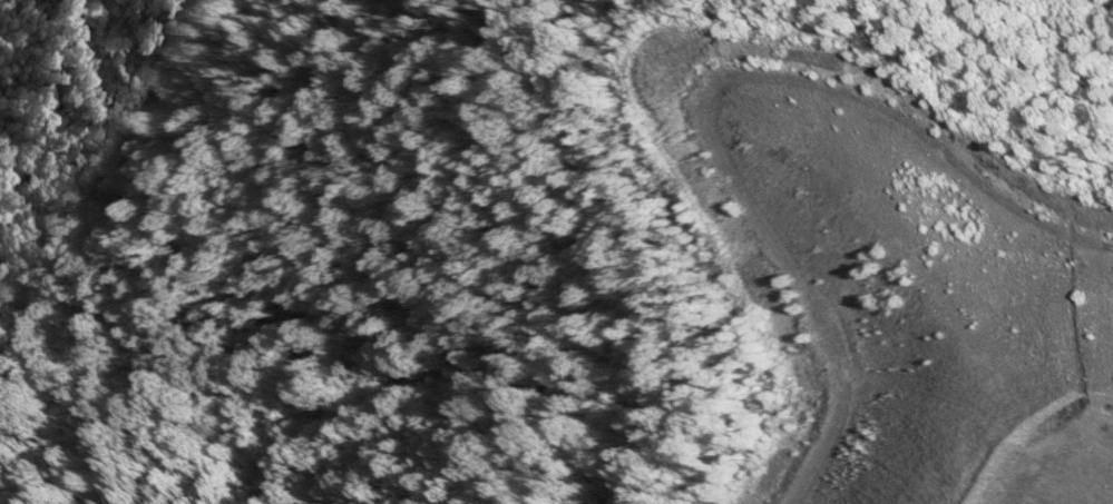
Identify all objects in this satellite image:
quarry: (875, 259)

